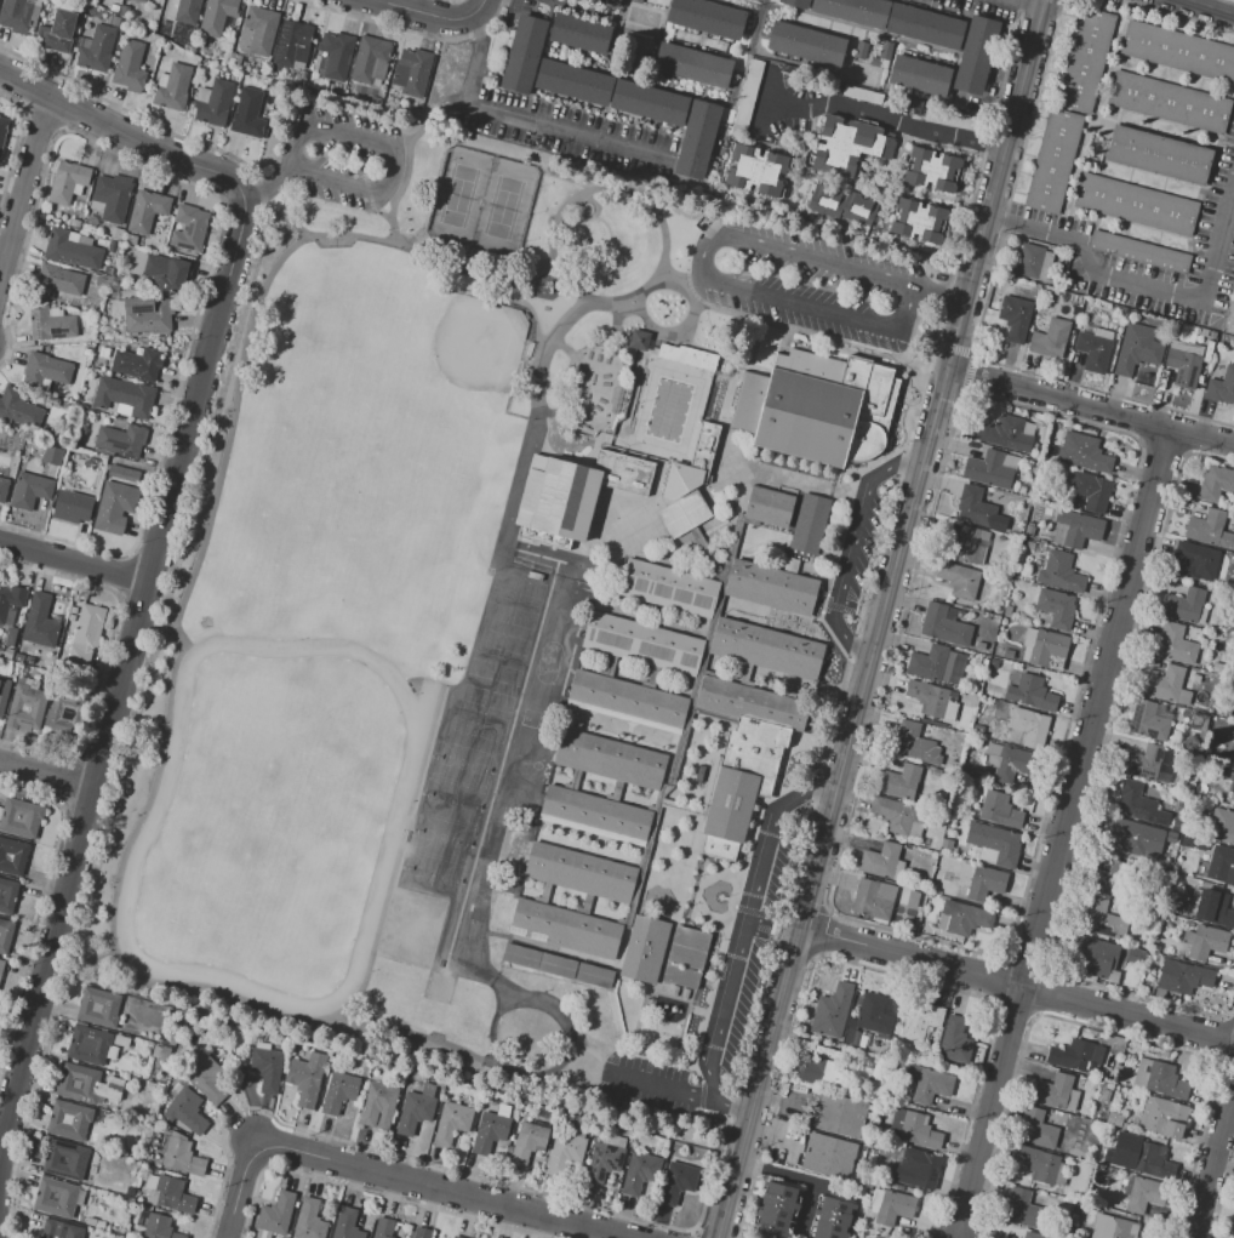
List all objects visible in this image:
building: (137, 0)
building: (143, 1)
building: (607, 2)
building: (796, 2)
road: (1023, 4)
building: (113, 7)
building: (188, 11)
building: (855, 11)
road: (1195, 11)
building: (16, 15)
building: (217, 15)
road: (432, 16)
building: (705, 17)
building: (114, 21)
building: (926, 27)
building: (258, 32)
building: (57, 33)
building: (579, 33)
building: (290, 40)
building: (165, 45)
building: (806, 45)
building: (97, 50)
building: (1178, 52)
building: (336, 55)
building: (522, 55)
building: (976, 56)
building: (369, 57)
building: (1085, 61)
building: (692, 65)
building: (130, 67)
building: (416, 70)
road: (434, 75)
building: (920, 75)
building: (572, 82)
building: (173, 87)
road: (762, 102)
building: (1169, 102)
building: (216, 103)
building: (650, 103)
building: (247, 114)
road: (525, 116)
road: (884, 118)
building: (2, 131)
road: (127, 133)
building: (697, 139)
building: (849, 146)
road: (392, 153)
building: (1158, 155)
parking lot: (344, 159)
building: (1052, 160)
building: (755, 170)
building: (932, 170)
road: (405, 173)
road: (265, 181)
building: (67, 182)
road: (24, 186)
building: (112, 198)
park: (481, 201)
building: (842, 204)
building: (1136, 205)
building: (147, 211)
building: (918, 221)
building: (74, 223)
building: (188, 228)
road: (365, 238)
building: (73, 249)
building: (1139, 251)
park: (595, 257)
building: (1029, 261)
building: (160, 270)
road: (704, 276)
building: (58, 281)
building: (102, 281)
road: (1141, 283)
parking lot: (806, 284)
road: (936, 293)
building: (1076, 310)
building: (148, 315)
building: (1015, 318)
building: (50, 325)
building: (1050, 338)
building: (639, 340)
building: (1092, 350)
building: (85, 352)
building: (687, 356)
building: (1138, 356)
building: (137, 363)
park: (452, 363)
building: (1183, 369)
building: (46, 370)
building: (1221, 387)
road: (240, 393)
building: (124, 395)
road: (1090, 405)
building: (817, 407)
building: (18, 409)
building: (1007, 433)
building: (120, 440)
building: (704, 447)
building: (1082, 452)
building: (16, 453)
building: (51, 455)
building: (990, 468)
park: (320, 475)
building: (1216, 483)
building: (2, 489)
building: (30, 490)
building: (576, 490)
building: (1022, 490)
building: (1091, 490)
building: (118, 496)
building: (681, 500)
building: (72, 507)
building: (769, 507)
building: (975, 507)
building: (1049, 514)
building: (809, 524)
building: (1079, 527)
building: (1210, 530)
building: (1029, 531)
building: (966, 546)
building: (1029, 546)
road: (850, 548)
building: (1198, 559)
road: (75, 561)
building: (1059, 572)
building: (958, 580)
building: (771, 587)
building: (668, 588)
building: (11, 604)
building: (1184, 605)
building: (1056, 606)
building: (1006, 610)
road: (879, 618)
building: (40, 622)
road: (158, 623)
building: (944, 624)
building: (85, 634)
building: (642, 644)
building: (1176, 644)
building: (979, 646)
building: (1042, 646)
building: (766, 649)
building: (7, 654)
building: (1007, 654)
building: (19, 657)
building: (28, 660)
building: (931, 663)
building: (993, 663)
building: (1215, 667)
road: (122, 669)
building: (1166, 685)
building: (4, 692)
building: (1032, 694)
building: (932, 700)
building: (627, 701)
building: (752, 703)
building: (25, 707)
building: (64, 714)
building: (1150, 719)
building: (1029, 726)
building: (914, 744)
building: (1205, 752)
building: (1233, 755)
building: (610, 759)
building: (1009, 763)
park: (461, 764)
building: (1149, 764)
road: (46, 774)
building: (901, 782)
building: (741, 783)
building: (1232, 783)
road: (150, 793)
park: (451, 801)
building: (1136, 803)
building: (999, 810)
building: (594, 815)
building: (21, 817)
building: (901, 817)
track: (270, 820)
building: (1176, 825)
building: (1223, 825)
park: (269, 829)
road: (1058, 831)
park: (441, 839)
building: (1137, 840)
building: (995, 843)
building: (946, 845)
building: (515, 848)
building: (12, 856)
building: (881, 862)
building: (1221, 865)
building: (581, 873)
park: (432, 875)
building: (1110, 879)
building: (984, 883)
building: (7, 896)
flagpole: (719, 897)
building: (873, 897)
building: (913, 900)
building: (1213, 908)
building: (502, 909)
building: (966, 918)
building: (1102, 919)
road: (748, 925)
building: (565, 929)
building: (5, 934)
building: (1206, 942)
building: (645, 949)
building: (685, 957)
building: (1136, 957)
road: (81, 958)
building: (1095, 958)
building: (558, 966)
building: (1, 968)
building: (1182, 977)
road: (1016, 985)
building: (1147, 989)
building: (98, 1009)
building: (832, 1011)
building: (876, 1012)
building: (921, 1021)
road: (326, 1023)
building: (852, 1037)
road: (576, 1040)
building: (954, 1040)
building: (88, 1045)
building: (156, 1050)
building: (829, 1051)
building: (1076, 1056)
building: (865, 1061)
building: (267, 1069)
building: (819, 1072)
building: (204, 1074)
building: (305, 1078)
building: (1159, 1079)
building: (79, 1083)
building: (927, 1084)
building: (149, 1085)
road: (678, 1089)
building: (338, 1091)
building: (1052, 1091)
building: (1106, 1095)
building: (378, 1106)
building: (187, 1111)
building: (415, 1112)
building: (839, 1114)
building: (1162, 1118)
building: (1114, 1119)
building: (68, 1120)
building: (451, 1122)
building: (874, 1123)
building: (1036, 1129)
building: (918, 1131)
building: (491, 1133)
building: (529, 1142)
building: (565, 1152)
road: (1211, 1152)
building: (828, 1156)
building: (182, 1158)
building: (65, 1160)
building: (1150, 1160)
building: (602, 1162)
building: (1038, 1164)
building: (921, 1166)
building: (91, 1169)
building: (639, 1173)
building: (1099, 1174)
road: (801, 1177)
building: (676, 1181)
road: (239, 1188)
road: (436, 1188)
building: (130, 1192)
building: (1144, 1194)
building: (173, 1196)
building: (58, 1197)
building: (890, 1206)
building: (776, 1209)
building: (1024, 1210)
building: (276, 1214)
building: (830, 1219)
building: (309, 1220)
building: (92, 1222)
building: (99, 1225)
building: (347, 1225)
building: (156, 1226)
building: (1113, 1227)
building: (383, 1228)
building: (59, 1231)
building: (422, 1232)
building: (1233, 1233)
building: (1032, 1236)
building: (456, 1237)

